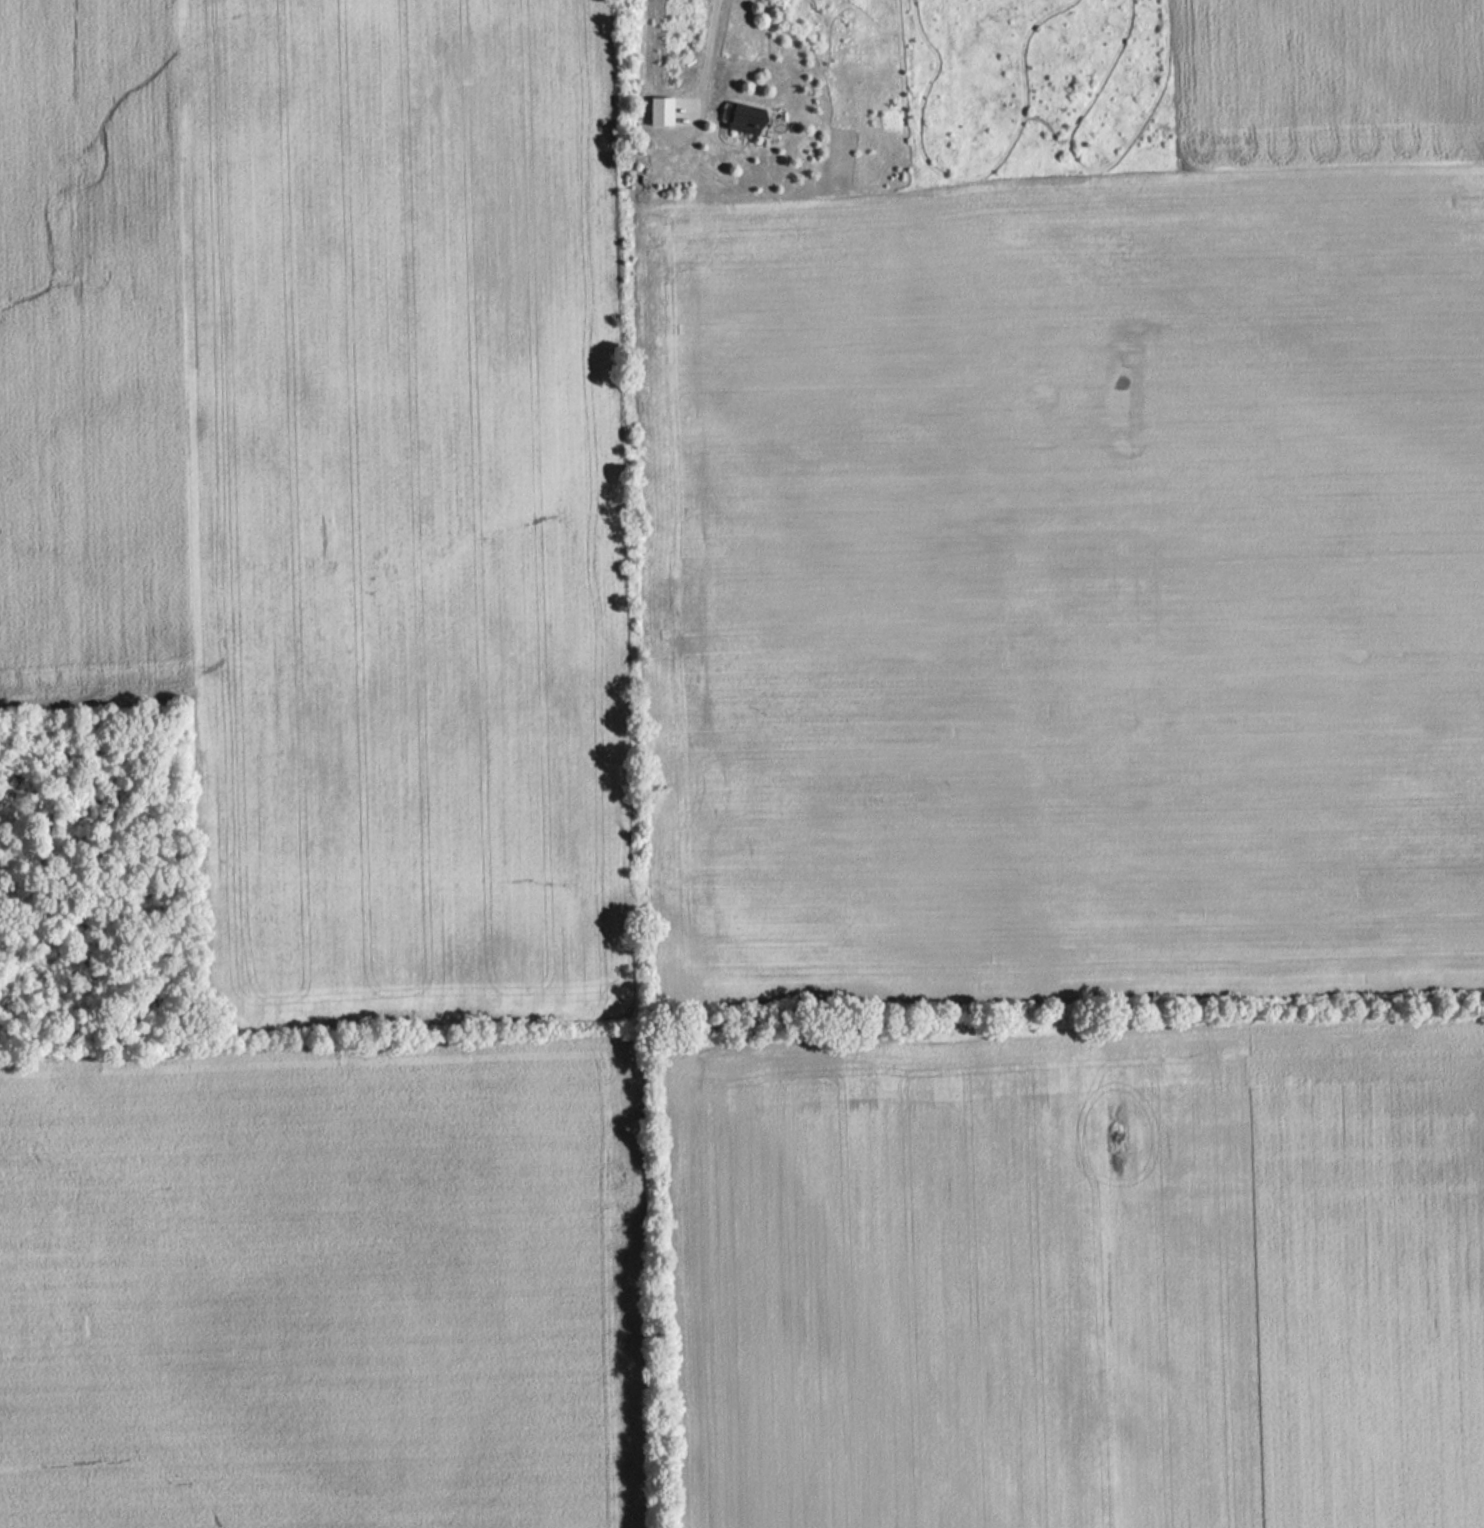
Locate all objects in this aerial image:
road: (710, 47)

